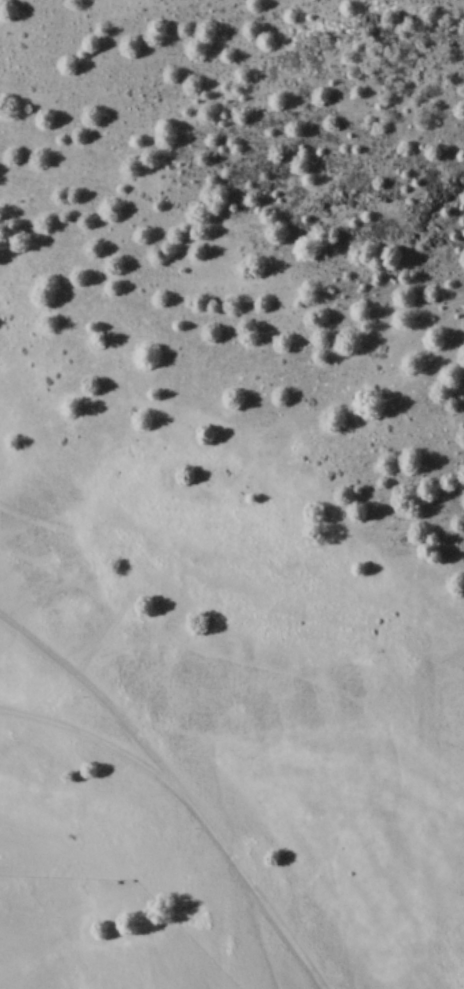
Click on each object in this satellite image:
road: (80, 730)
road: (179, 786)

